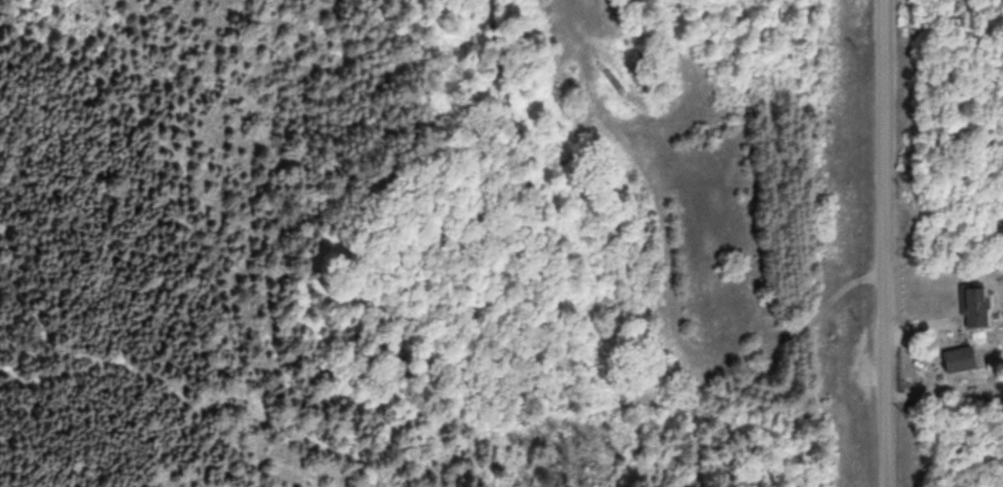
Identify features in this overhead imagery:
road: (884, 243)
building: (972, 301)
building: (958, 356)

